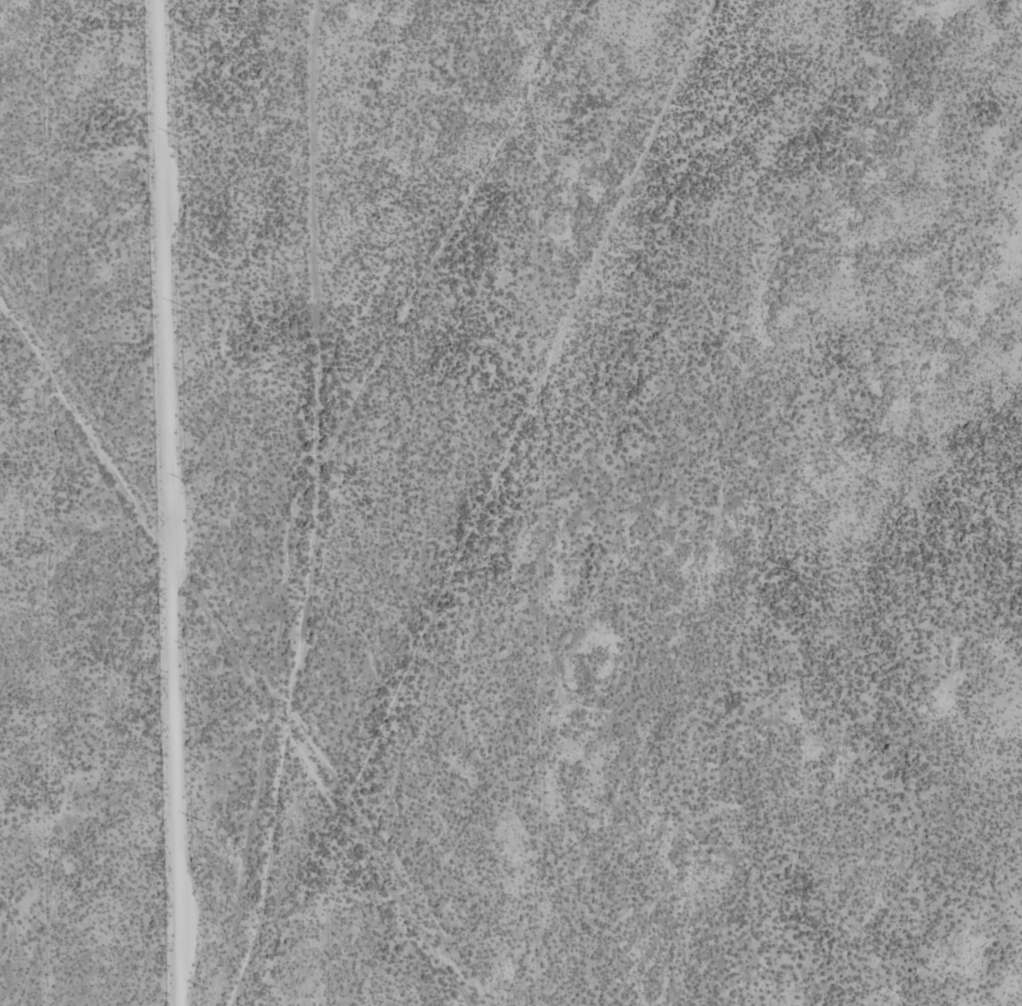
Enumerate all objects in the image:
road: (340, 508)

